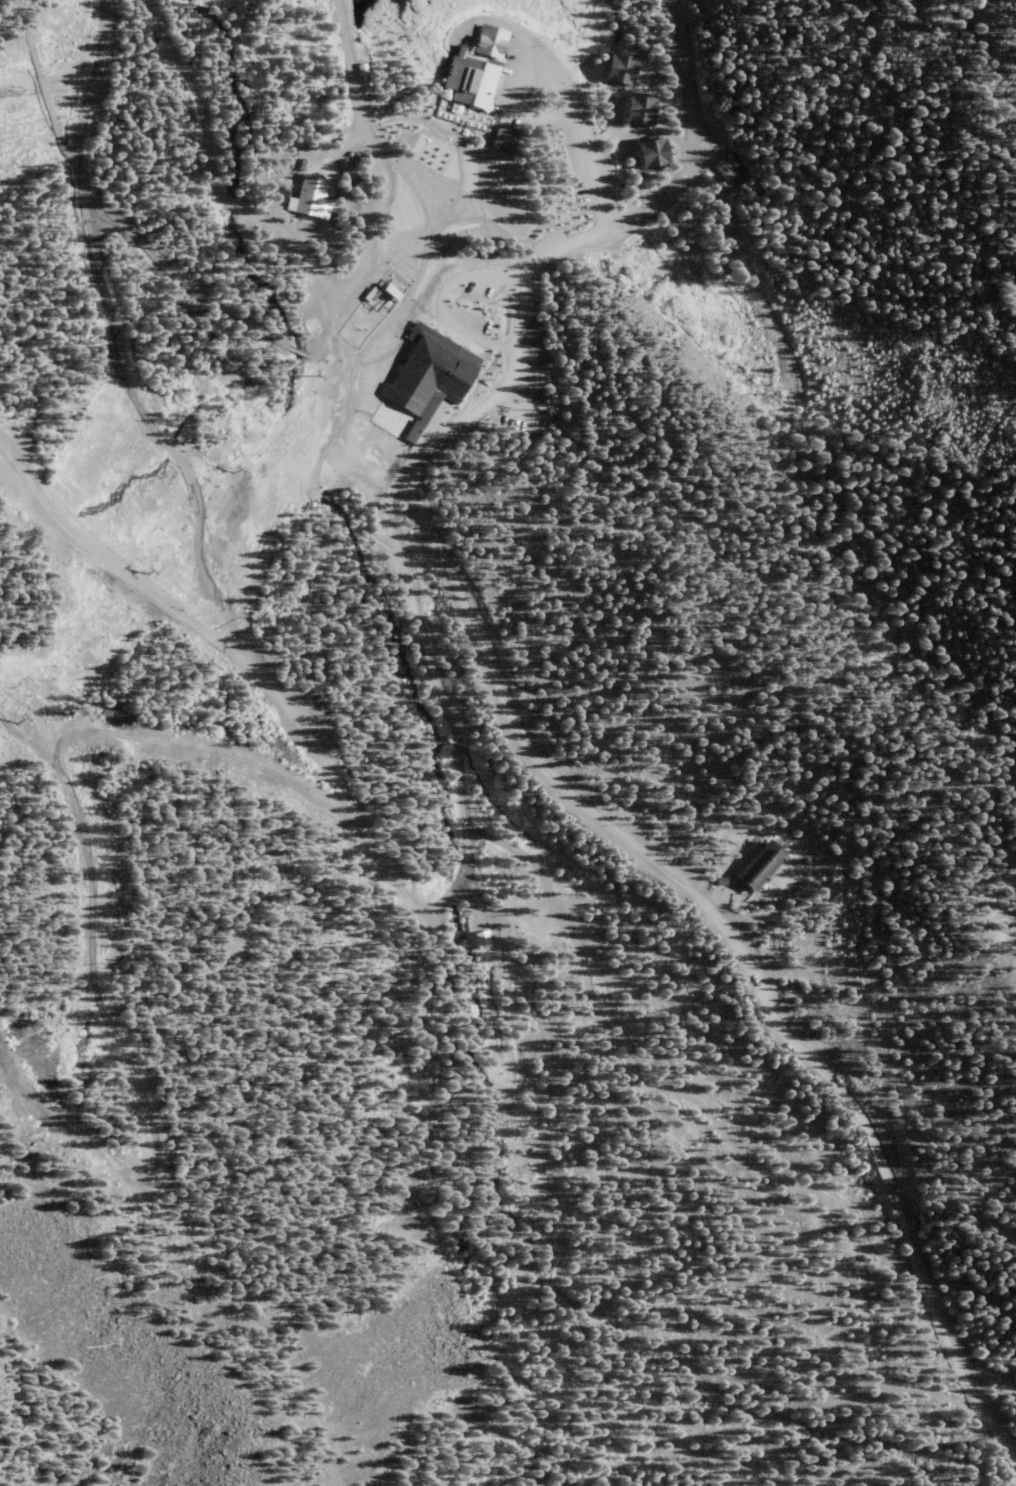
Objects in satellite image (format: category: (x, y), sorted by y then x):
building: (492, 42)
building: (623, 70)
road: (42, 87)
building: (477, 89)
building: (641, 111)
road: (576, 124)
road: (459, 145)
building: (655, 154)
building: (348, 168)
building: (725, 170)
building: (713, 181)
storage tank: (713, 181)
road: (413, 190)
building: (312, 197)
parking lot: (510, 216)
road: (471, 218)
road: (570, 244)
road: (200, 291)
building: (388, 291)
road: (118, 339)
building: (432, 371)
aerialway pylon: (320, 372)
aerialway pylon: (234, 470)
road: (393, 488)
building: (310, 503)
road: (121, 569)
aerialway pylon: (146, 569)
road: (242, 575)
road: (413, 600)
building: (311, 696)
aerialway pylon: (16, 718)
road: (30, 736)
road: (81, 824)
building: (759, 865)
building: (365, 872)
building: (720, 881)
ski resort: (234, 887)
road: (420, 905)
building: (481, 938)
road: (739, 942)
road: (744, 1156)
road: (323, 1301)
road: (566, 1418)

